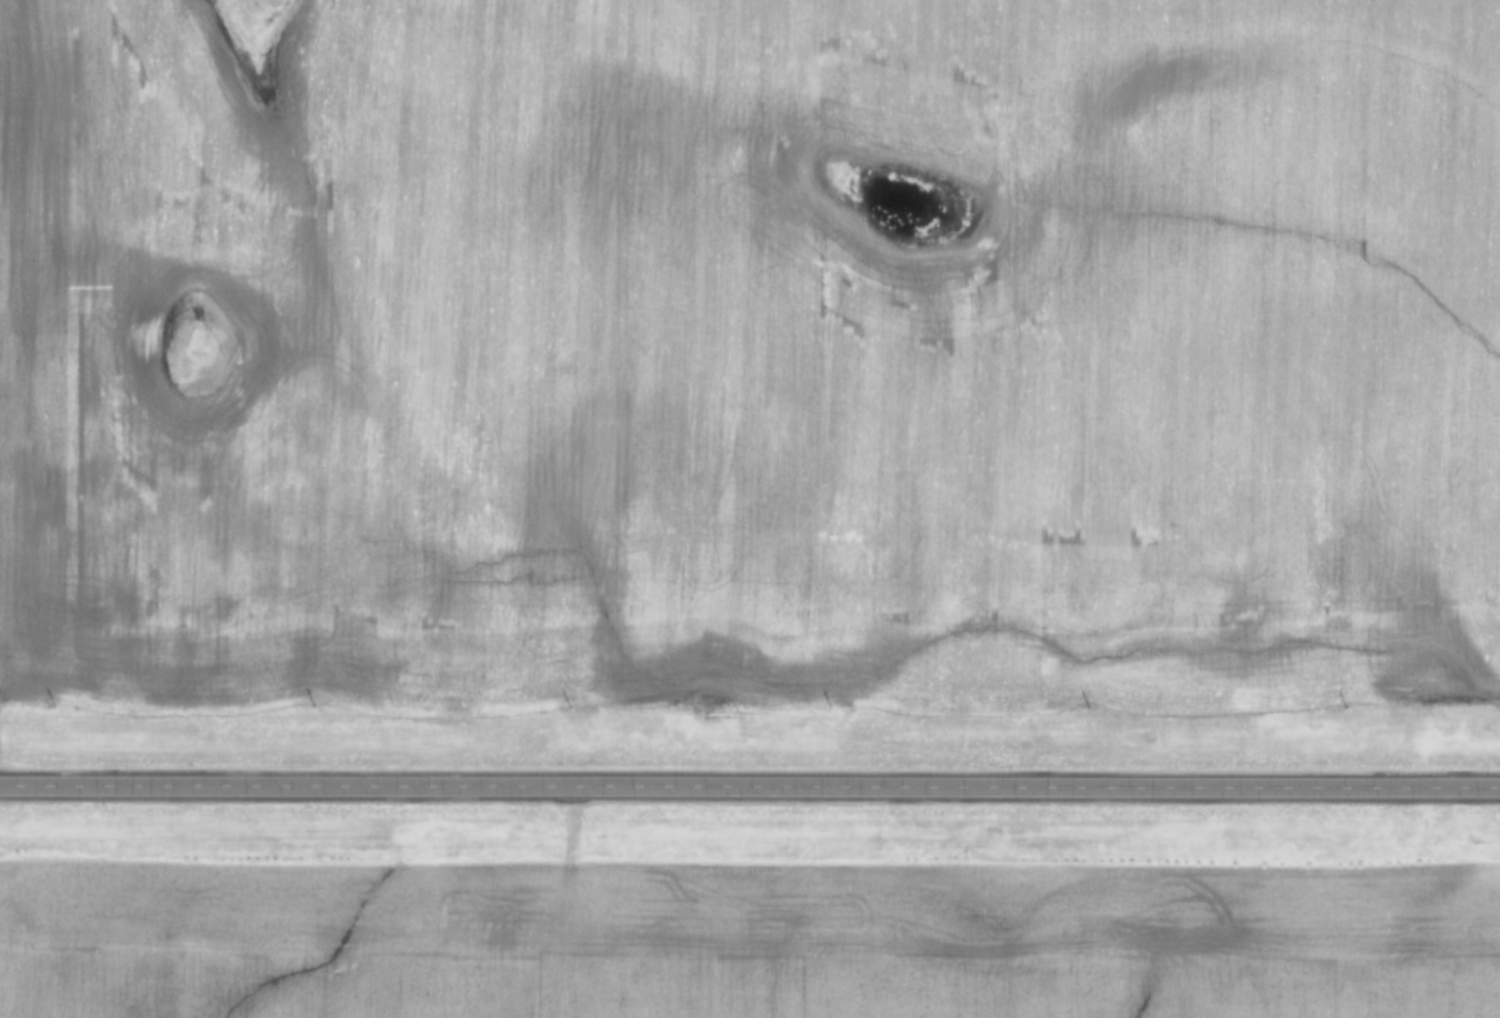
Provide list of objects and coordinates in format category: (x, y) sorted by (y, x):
road: (750, 789)

